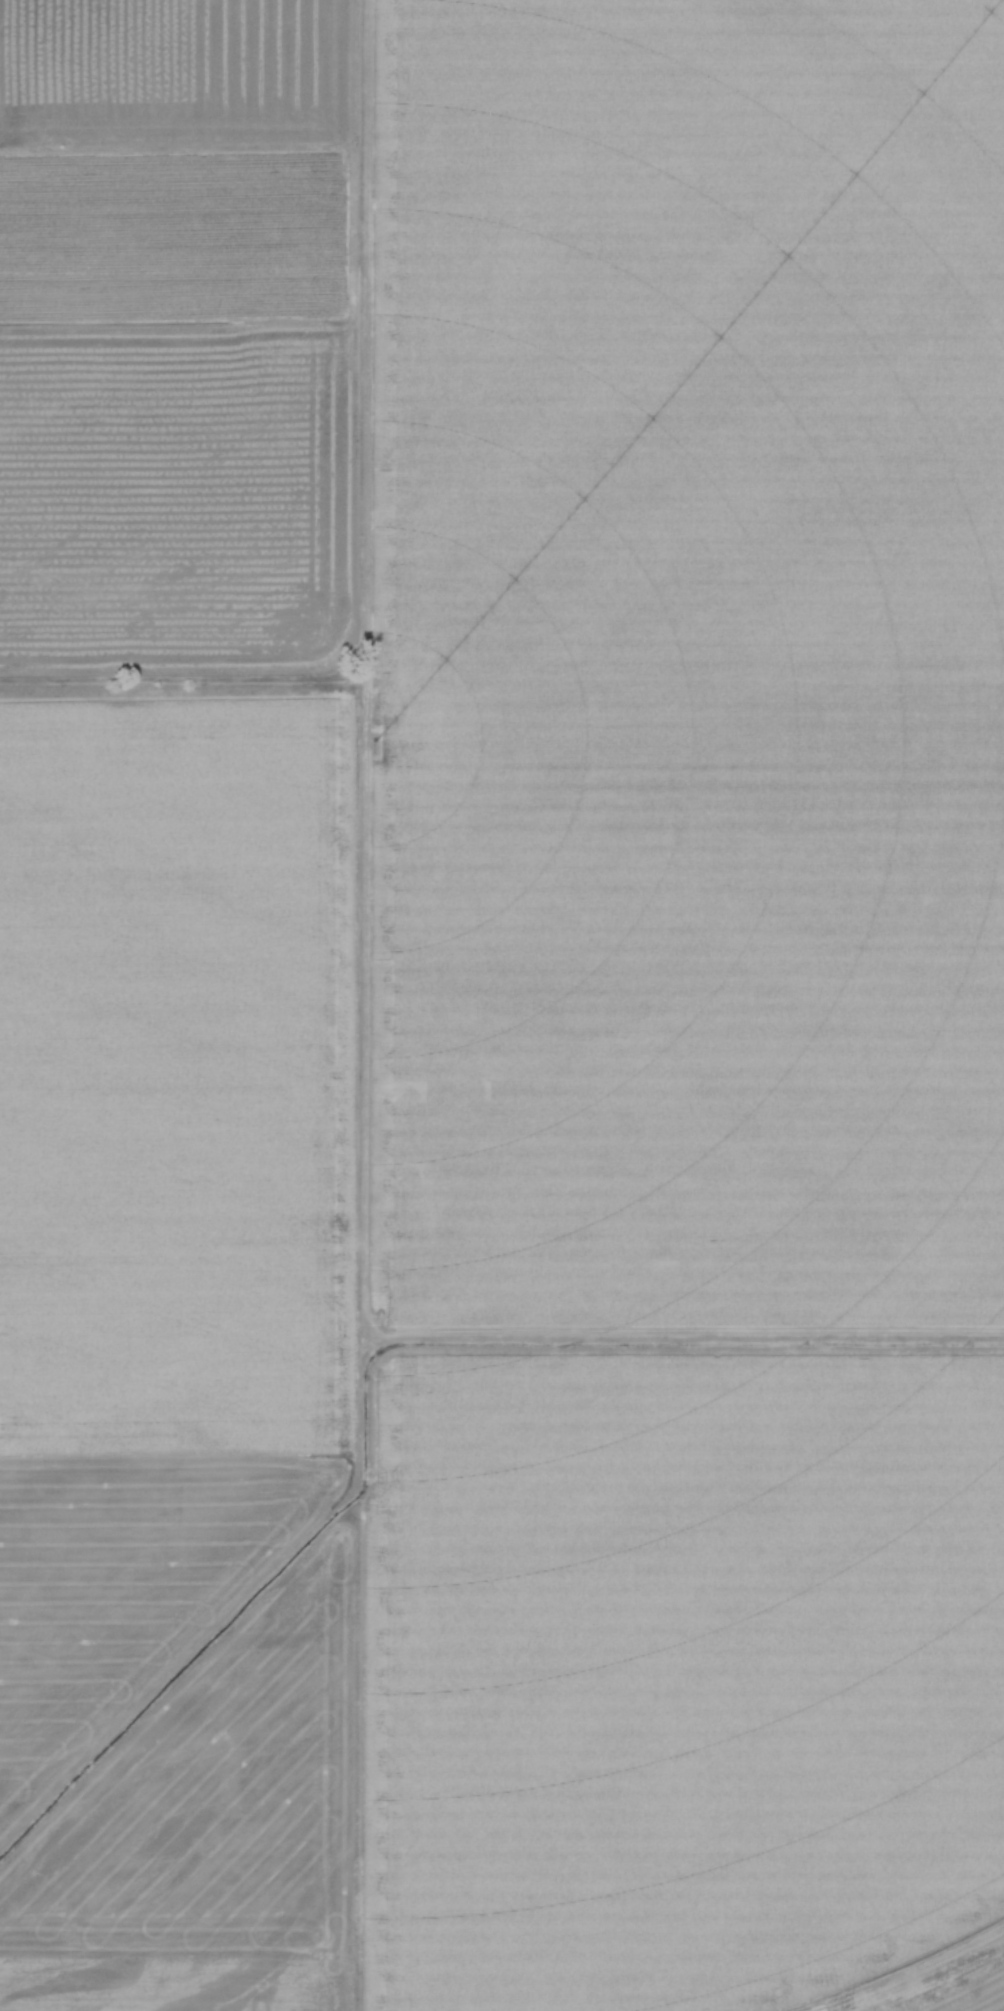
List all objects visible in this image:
airport runway: (694, 1335)

